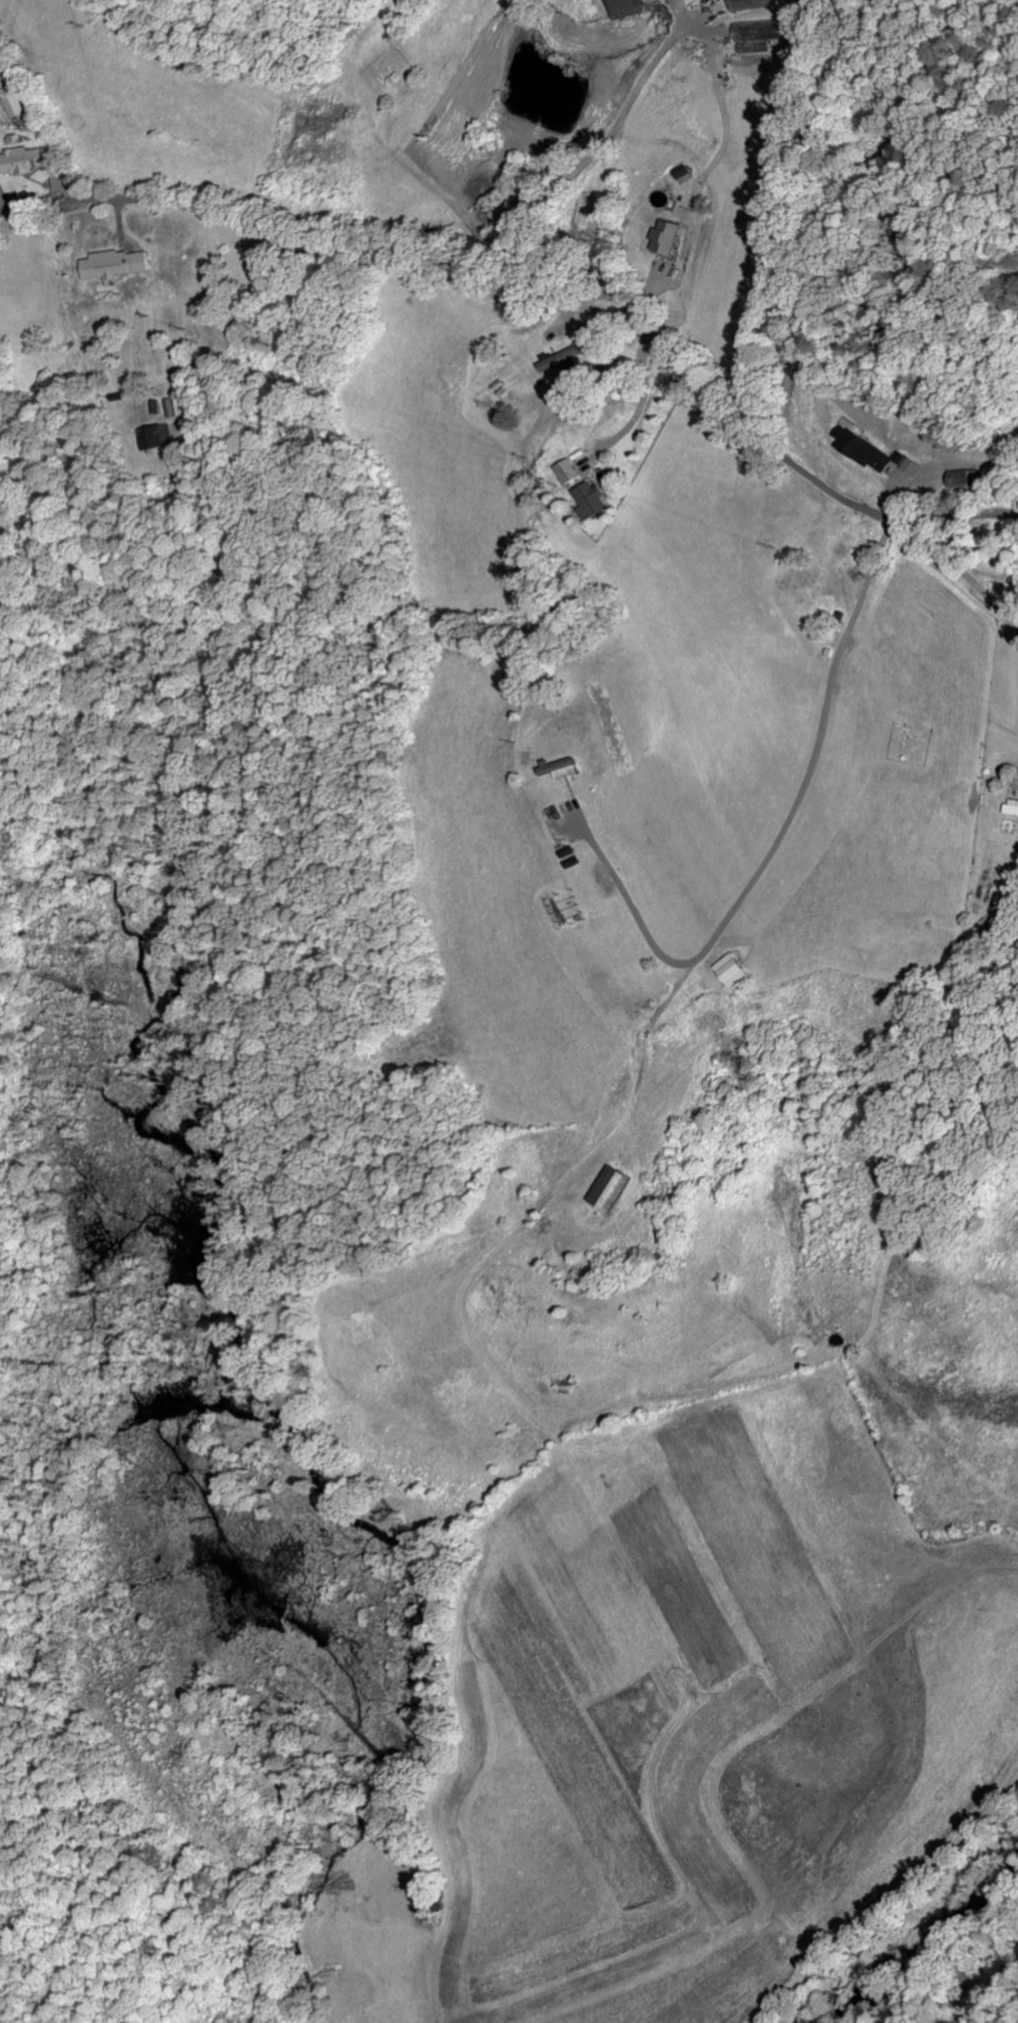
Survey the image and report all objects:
building: (749, 4)
building: (756, 36)
building: (14, 107)
road: (41, 127)
building: (18, 162)
building: (688, 175)
building: (670, 238)
road: (552, 263)
building: (115, 266)
building: (162, 438)
building: (863, 451)
building: (909, 468)
building: (570, 472)
building: (964, 479)
building: (591, 502)
building: (1011, 808)
building: (732, 972)
building: (613, 1191)
road: (990, 1992)

